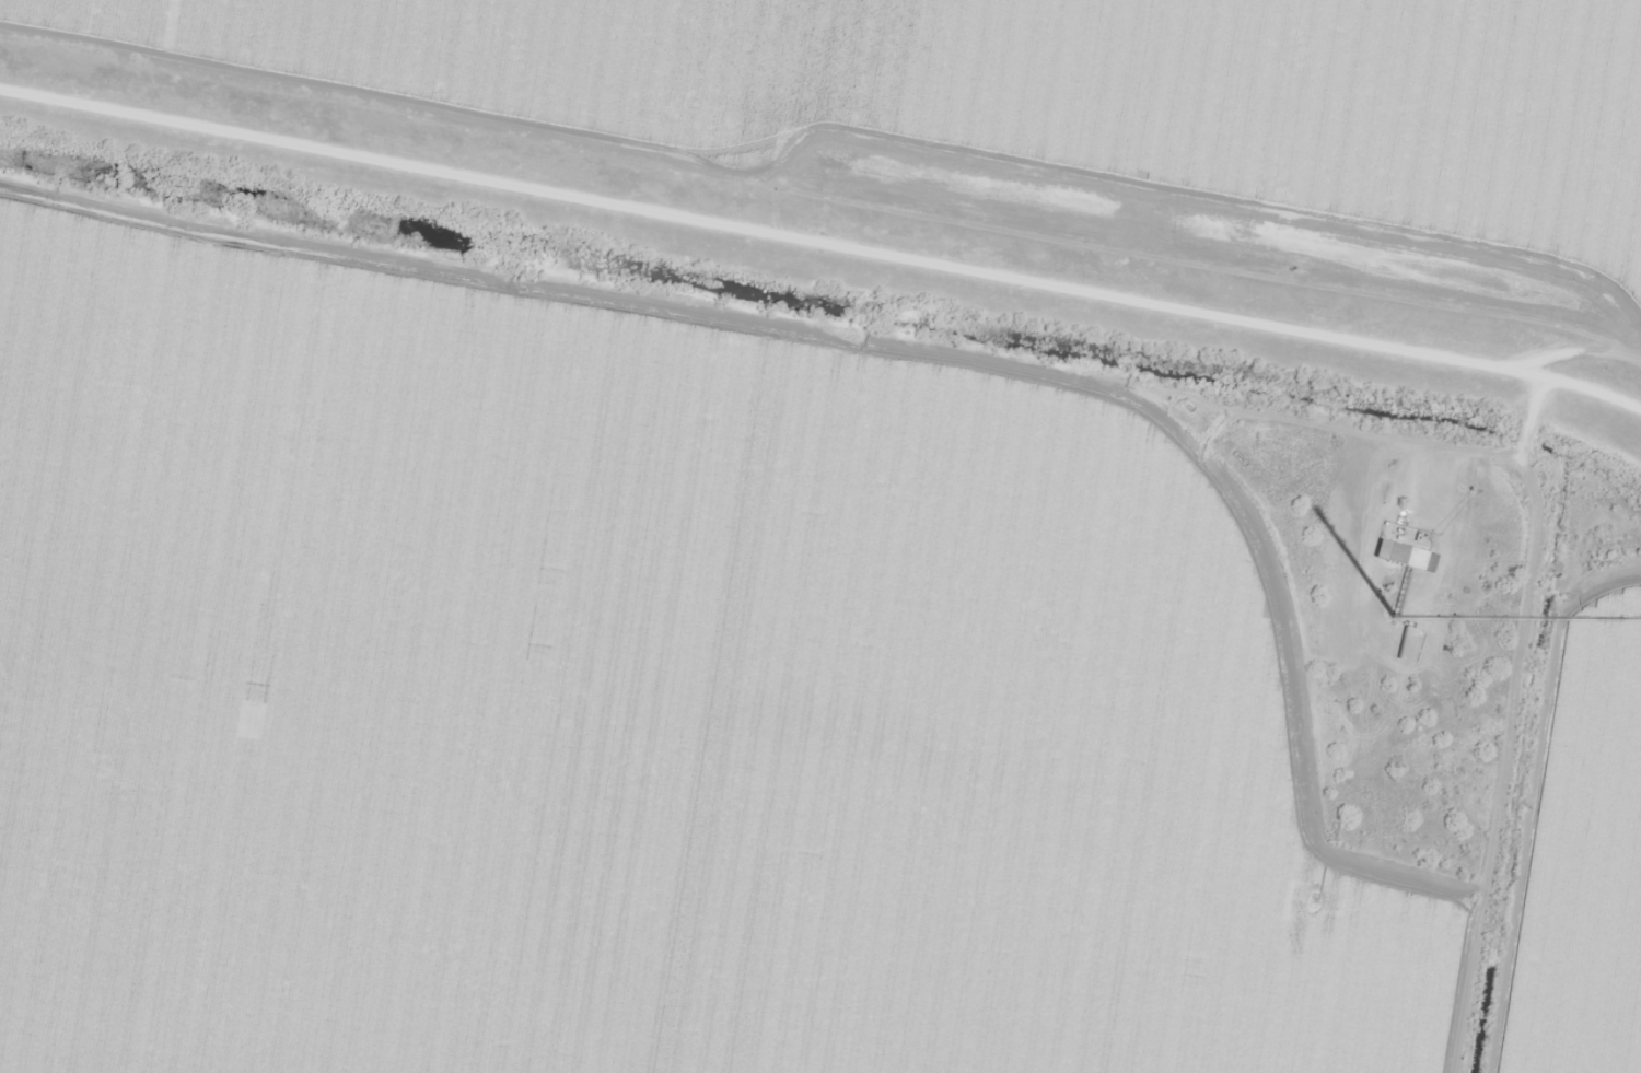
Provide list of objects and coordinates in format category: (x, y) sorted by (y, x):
road: (819, 234)
building: (1404, 557)

